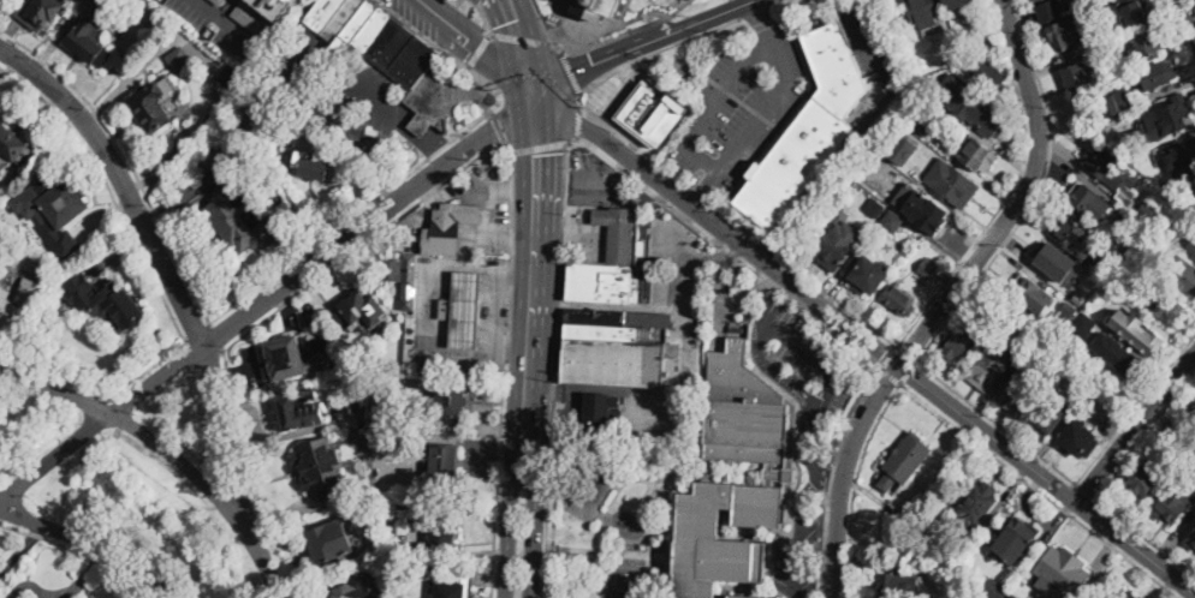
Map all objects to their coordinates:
building: (220, 1)
road: (777, 1)
building: (1095, 1)
building: (957, 4)
building: (277, 7)
road: (226, 8)
building: (597, 8)
building: (1048, 8)
road: (756, 10)
building: (40, 12)
road: (1189, 12)
road: (759, 13)
building: (923, 13)
building: (1128, 13)
road: (713, 14)
road: (486, 18)
building: (255, 19)
road: (541, 20)
road: (230, 24)
traffic signals: (500, 25)
road: (629, 29)
road: (1182, 31)
building: (1068, 34)
road: (505, 38)
road: (521, 38)
building: (90, 42)
traffic signals: (476, 44)
road: (537, 47)
road: (555, 47)
building: (1145, 47)
road: (482, 49)
road: (478, 50)
building: (386, 53)
road: (649, 53)
building: (1104, 53)
road: (607, 55)
building: (179, 59)
traffic signals: (591, 62)
road: (571, 71)
building: (988, 74)
building: (232, 76)
building: (1155, 76)
building: (1077, 78)
road: (495, 86)
building: (252, 89)
road: (522, 95)
building: (246, 98)
building: (1117, 102)
road: (535, 103)
building: (156, 106)
road: (347, 106)
parking lot: (741, 106)
building: (981, 114)
building: (652, 115)
building: (1167, 119)
road: (577, 122)
building: (918, 125)
road: (499, 126)
building: (808, 131)
road: (855, 133)
building: (1128, 143)
road: (636, 144)
road: (539, 145)
building: (13, 146)
building: (904, 149)
traffic signals: (551, 153)
building: (975, 154)
building: (1181, 155)
road: (129, 160)
building: (209, 160)
road: (715, 167)
building: (316, 168)
building: (1111, 169)
parking lot: (595, 180)
building: (952, 184)
road: (482, 186)
road: (575, 186)
road: (704, 186)
road: (1011, 186)
building: (1194, 187)
road: (111, 190)
road: (700, 193)
road: (1036, 195)
road: (1021, 196)
building: (1084, 197)
building: (842, 203)
building: (922, 207)
building: (55, 209)
building: (874, 209)
road: (584, 211)
building: (1147, 211)
building: (242, 216)
building: (1, 217)
road: (346, 217)
road: (737, 221)
building: (892, 221)
road: (599, 226)
building: (1135, 226)
building: (451, 227)
road: (487, 229)
road: (721, 229)
building: (619, 231)
gas station: (619, 232)
building: (1071, 233)
road: (510, 235)
building: (1191, 240)
road: (364, 245)
building: (837, 245)
road: (680, 247)
building: (1118, 251)
road: (560, 252)
road: (161, 257)
building: (1054, 261)
building: (1129, 267)
building: (928, 268)
road: (680, 273)
building: (869, 275)
building: (1183, 275)
building: (409, 281)
building: (601, 282)
building: (31, 288)
road: (828, 293)
building: (1031, 294)
building: (1080, 295)
road: (733, 300)
building: (106, 301)
building: (900, 301)
road: (260, 304)
gas station: (462, 307)
building: (465, 309)
building: (1169, 309)
building: (7, 310)
building: (1068, 310)
building: (363, 311)
building: (307, 321)
building: (1084, 322)
building: (1035, 330)
building: (1138, 330)
road: (197, 333)
building: (967, 337)
road: (216, 339)
road: (543, 346)
building: (611, 352)
road: (906, 352)
building: (1118, 352)
road: (519, 354)
parking lot: (810, 355)
road: (886, 357)
building: (293, 358)
building: (988, 367)
road: (149, 370)
road: (908, 370)
road: (774, 372)
road: (888, 373)
building: (1094, 376)
road: (57, 378)
building: (1018, 390)
road: (828, 391)
building: (452, 403)
building: (357, 407)
building: (742, 408)
road: (1134, 409)
building: (301, 411)
building: (605, 411)
building: (1193, 411)
road: (851, 414)
building: (1047, 417)
road: (995, 420)
road: (1136, 430)
road: (987, 433)
road: (1143, 433)
building: (1183, 437)
building: (1080, 441)
road: (170, 450)
building: (904, 460)
building: (396, 461)
road: (497, 464)
building: (445, 467)
building: (319, 468)
building: (777, 473)
road: (842, 473)
road: (248, 477)
road: (828, 479)
building: (1140, 482)
road: (620, 483)
road: (854, 484)
road: (1038, 490)
road: (1083, 490)
park: (589, 491)
road: (1065, 494)
building: (588, 500)
building: (977, 503)
building: (1173, 504)
road: (668, 508)
road: (1086, 509)
road: (607, 510)
building: (396, 513)
road: (643, 514)
building: (363, 516)
building: (903, 520)
building: (444, 530)
road: (798, 531)
building: (331, 536)
building: (1015, 537)
road: (1143, 537)
building: (709, 542)
building: (1191, 542)
road: (93, 543)
road: (824, 545)
road: (607, 550)
building: (939, 550)
road: (1136, 550)
road: (84, 551)
parking lot: (793, 561)
building: (1062, 573)
road: (602, 574)
road: (77, 578)
road: (28, 584)
road: (640, 584)
building: (899, 586)
building: (352, 588)
building: (456, 588)
building: (995, 590)
building: (1129, 592)
building: (1013, 596)
road: (43, 597)
building: (745, 597)

